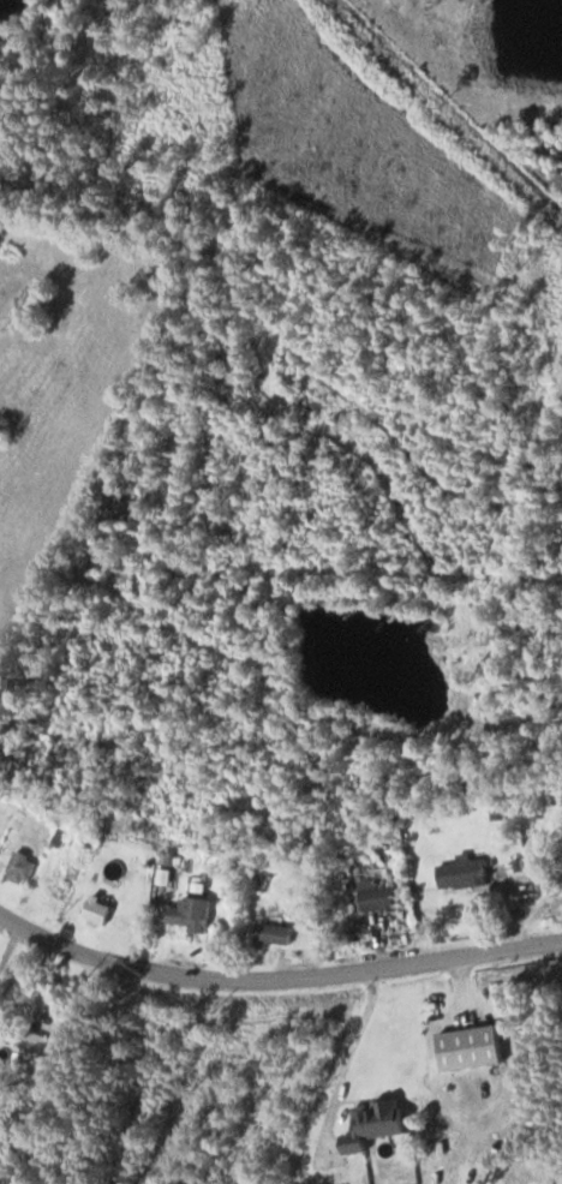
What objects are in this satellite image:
building: (2, 430)
building: (2, 824)
building: (23, 868)
building: (465, 873)
building: (64, 890)
building: (378, 897)
building: (98, 910)
building: (192, 914)
building: (275, 934)
road: (12, 951)
road: (275, 980)
building: (472, 1048)
building: (35, 1050)
building: (376, 1125)

